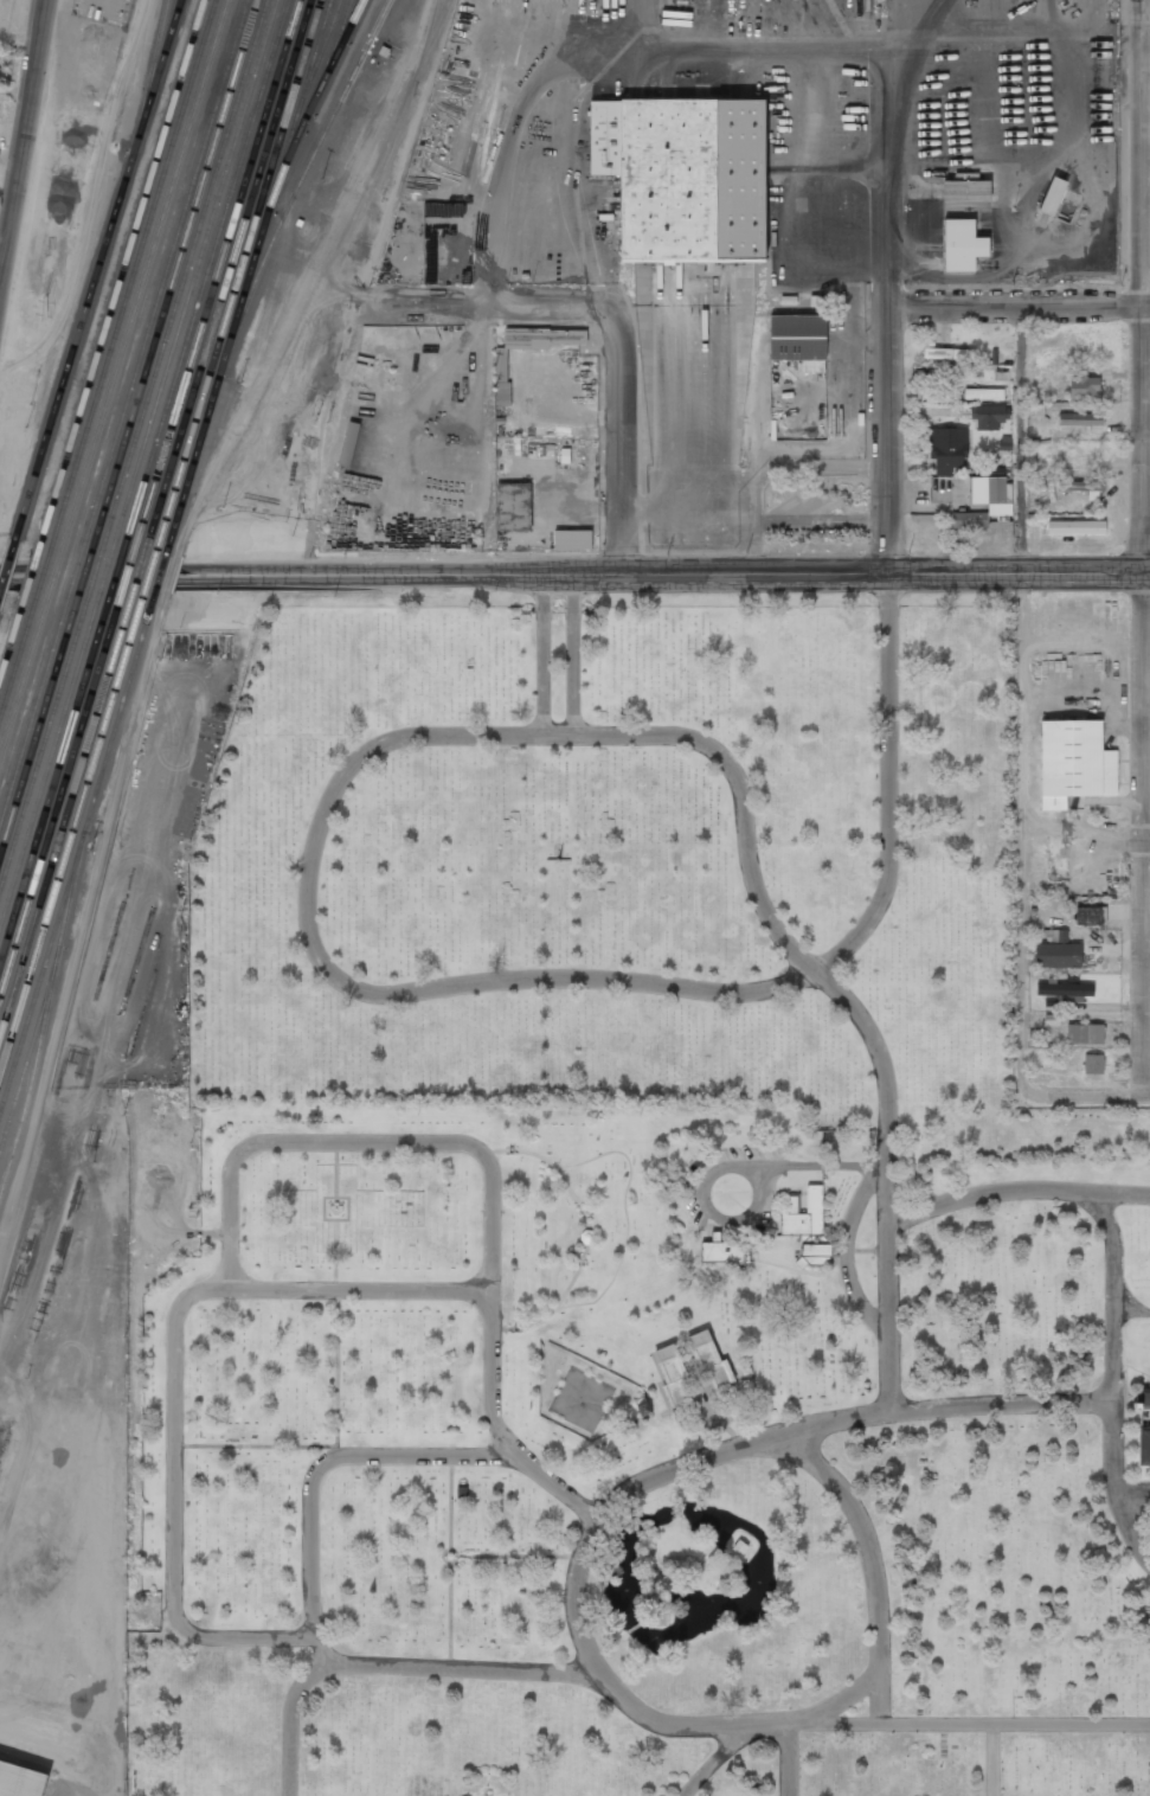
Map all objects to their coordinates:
railway: (355, 17)
road: (1146, 38)
railway: (340, 47)
road: (759, 51)
railway: (307, 69)
railway: (309, 94)
railway: (289, 102)
road: (23, 134)
road: (563, 142)
railway: (266, 145)
road: (886, 146)
railway: (248, 177)
building: (683, 177)
building: (965, 190)
building: (1052, 195)
railway: (226, 209)
building: (962, 244)
railway: (98, 269)
railway: (123, 271)
railway: (134, 271)
railway: (144, 274)
railway: (165, 274)
railway: (154, 275)
railway: (173, 275)
railway: (255, 275)
railway: (185, 276)
railway: (193, 276)
railway: (230, 276)
road: (488, 303)
road: (1019, 303)
building: (797, 336)
building: (535, 342)
building: (949, 353)
building: (943, 376)
building: (1084, 387)
building: (983, 393)
building: (989, 416)
building: (1080, 419)
road: (885, 437)
road: (621, 442)
building: (348, 443)
building: (946, 449)
building: (1082, 487)
building: (991, 493)
building: (513, 505)
building: (969, 519)
building: (1075, 526)
building: (571, 539)
road: (1143, 546)
railway: (8, 566)
road: (12, 572)
road: (663, 572)
railway: (95, 575)
railway: (43, 577)
railway: (104, 577)
railway: (63, 578)
railway: (32, 579)
railway: (53, 579)
railway: (73, 579)
railway: (82, 579)
railway: (116, 579)
railway: (127, 579)
railway: (11, 650)
road: (541, 653)
road: (573, 653)
railway: (17, 666)
railway: (23, 685)
railway: (27, 698)
road: (1022, 699)
railway: (32, 717)
railway: (37, 731)
railway: (44, 744)
railway: (49, 762)
building: (1074, 762)
railway: (54, 783)
building: (1080, 802)
railway: (54, 819)
road: (1086, 832)
railway: (47, 880)
railway: (64, 897)
building: (1090, 915)
railway: (40, 937)
building: (1056, 950)
road: (361, 988)
building: (1065, 989)
railway: (33, 1006)
building: (1084, 1033)
building: (1093, 1064)
railway: (25, 1067)
road: (1087, 1093)
building: (790, 1205)
building: (804, 1214)
park: (635, 1236)
building: (720, 1251)
building: (709, 1360)
building: (673, 1375)
building: (1144, 1399)
building: (1144, 1445)
building: (18, 1779)

